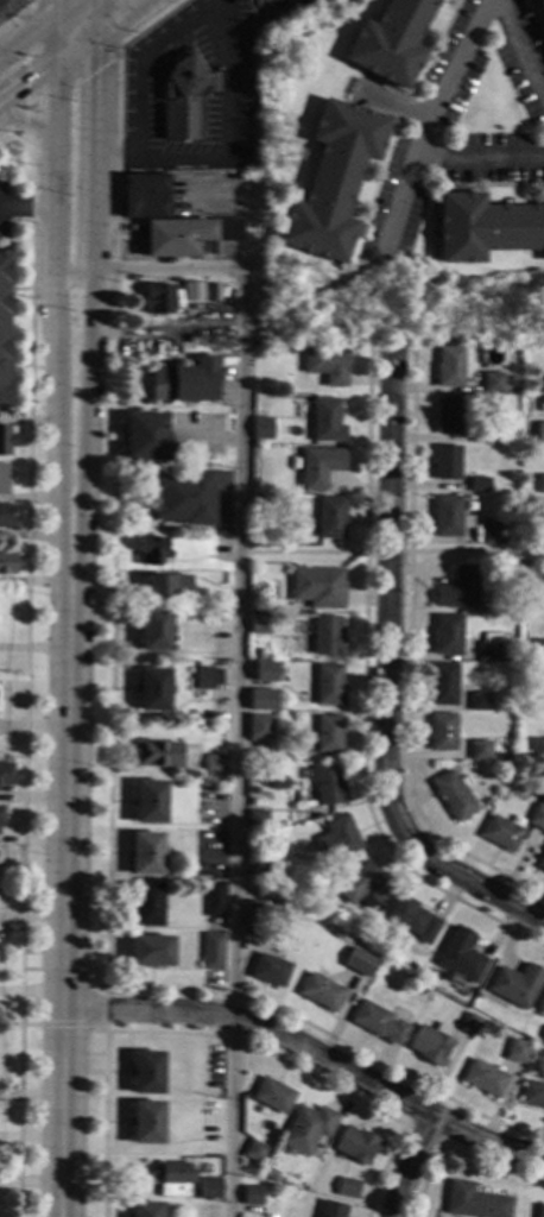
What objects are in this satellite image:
road: (57, 4)
parking lot: (10, 7)
building: (539, 7)
road: (20, 15)
road: (126, 20)
road: (6, 23)
road: (32, 24)
building: (390, 42)
road: (518, 51)
road: (34, 52)
road: (138, 61)
road: (95, 64)
traffic signals: (97, 69)
road: (49, 76)
road: (362, 90)
traffic signals: (25, 95)
building: (183, 100)
road: (56, 106)
road: (396, 106)
road: (31, 127)
road: (33, 127)
road: (426, 131)
road: (96, 134)
road: (222, 143)
building: (331, 181)
building: (145, 196)
road: (401, 197)
road: (27, 204)
road: (243, 222)
building: (485, 228)
road: (55, 237)
building: (188, 237)
road: (75, 269)
road: (18, 289)
building: (190, 291)
building: (211, 292)
building: (157, 299)
building: (2, 329)
building: (327, 366)
road: (17, 367)
building: (449, 367)
building: (184, 382)
building: (492, 383)
building: (542, 384)
road: (55, 403)
road: (89, 404)
building: (449, 416)
building: (325, 421)
building: (261, 429)
building: (539, 433)
building: (143, 435)
building: (480, 436)
road: (207, 439)
building: (6, 440)
building: (445, 462)
building: (320, 467)
building: (1, 478)
building: (477, 485)
building: (540, 485)
building: (183, 498)
building: (262, 506)
building: (448, 517)
building: (6, 518)
building: (331, 518)
building: (259, 526)
building: (507, 528)
building: (491, 532)
building: (150, 551)
road: (390, 554)
building: (177, 555)
building: (7, 563)
building: (164, 586)
building: (318, 588)
building: (458, 589)
building: (261, 592)
building: (542, 600)
building: (220, 606)
road: (387, 607)
building: (259, 625)
building: (152, 630)
building: (327, 636)
building: (445, 636)
building: (488, 648)
building: (538, 649)
building: (257, 654)
road: (407, 658)
road: (25, 661)
road: (235, 669)
building: (258, 674)
building: (203, 679)
building: (442, 685)
building: (329, 686)
building: (152, 689)
building: (260, 699)
road: (362, 699)
building: (542, 700)
building: (477, 701)
road: (109, 713)
building: (258, 727)
building: (441, 732)
building: (328, 734)
building: (537, 749)
building: (479, 750)
building: (157, 755)
building: (214, 767)
building: (6, 774)
building: (214, 781)
building: (328, 786)
building: (453, 796)
building: (148, 802)
building: (0, 815)
building: (537, 818)
building: (255, 820)
building: (500, 833)
building: (337, 838)
building: (145, 855)
building: (540, 864)
building: (255, 865)
road: (65, 877)
building: (363, 884)
road: (480, 888)
building: (214, 900)
building: (145, 906)
building: (253, 910)
building: (412, 920)
building: (367, 933)
building: (210, 951)
building: (150, 952)
building: (460, 958)
building: (360, 969)
building: (268, 971)
building: (515, 985)
building: (419, 990)
building: (321, 992)
building: (540, 1004)
road: (105, 1009)
road: (63, 1023)
building: (377, 1023)
building: (468, 1026)
road: (219, 1038)
building: (430, 1043)
road: (312, 1052)
building: (515, 1052)
building: (145, 1072)
building: (483, 1079)
building: (531, 1095)
building: (271, 1096)
building: (145, 1123)
building: (306, 1129)
building: (355, 1145)
road: (439, 1146)
building: (254, 1152)
road: (455, 1153)
road: (406, 1164)
building: (268, 1174)
building: (173, 1179)
building: (347, 1188)
building: (204, 1191)
building: (251, 1197)
building: (473, 1202)
building: (144, 1209)
building: (330, 1209)
building: (539, 1211)

